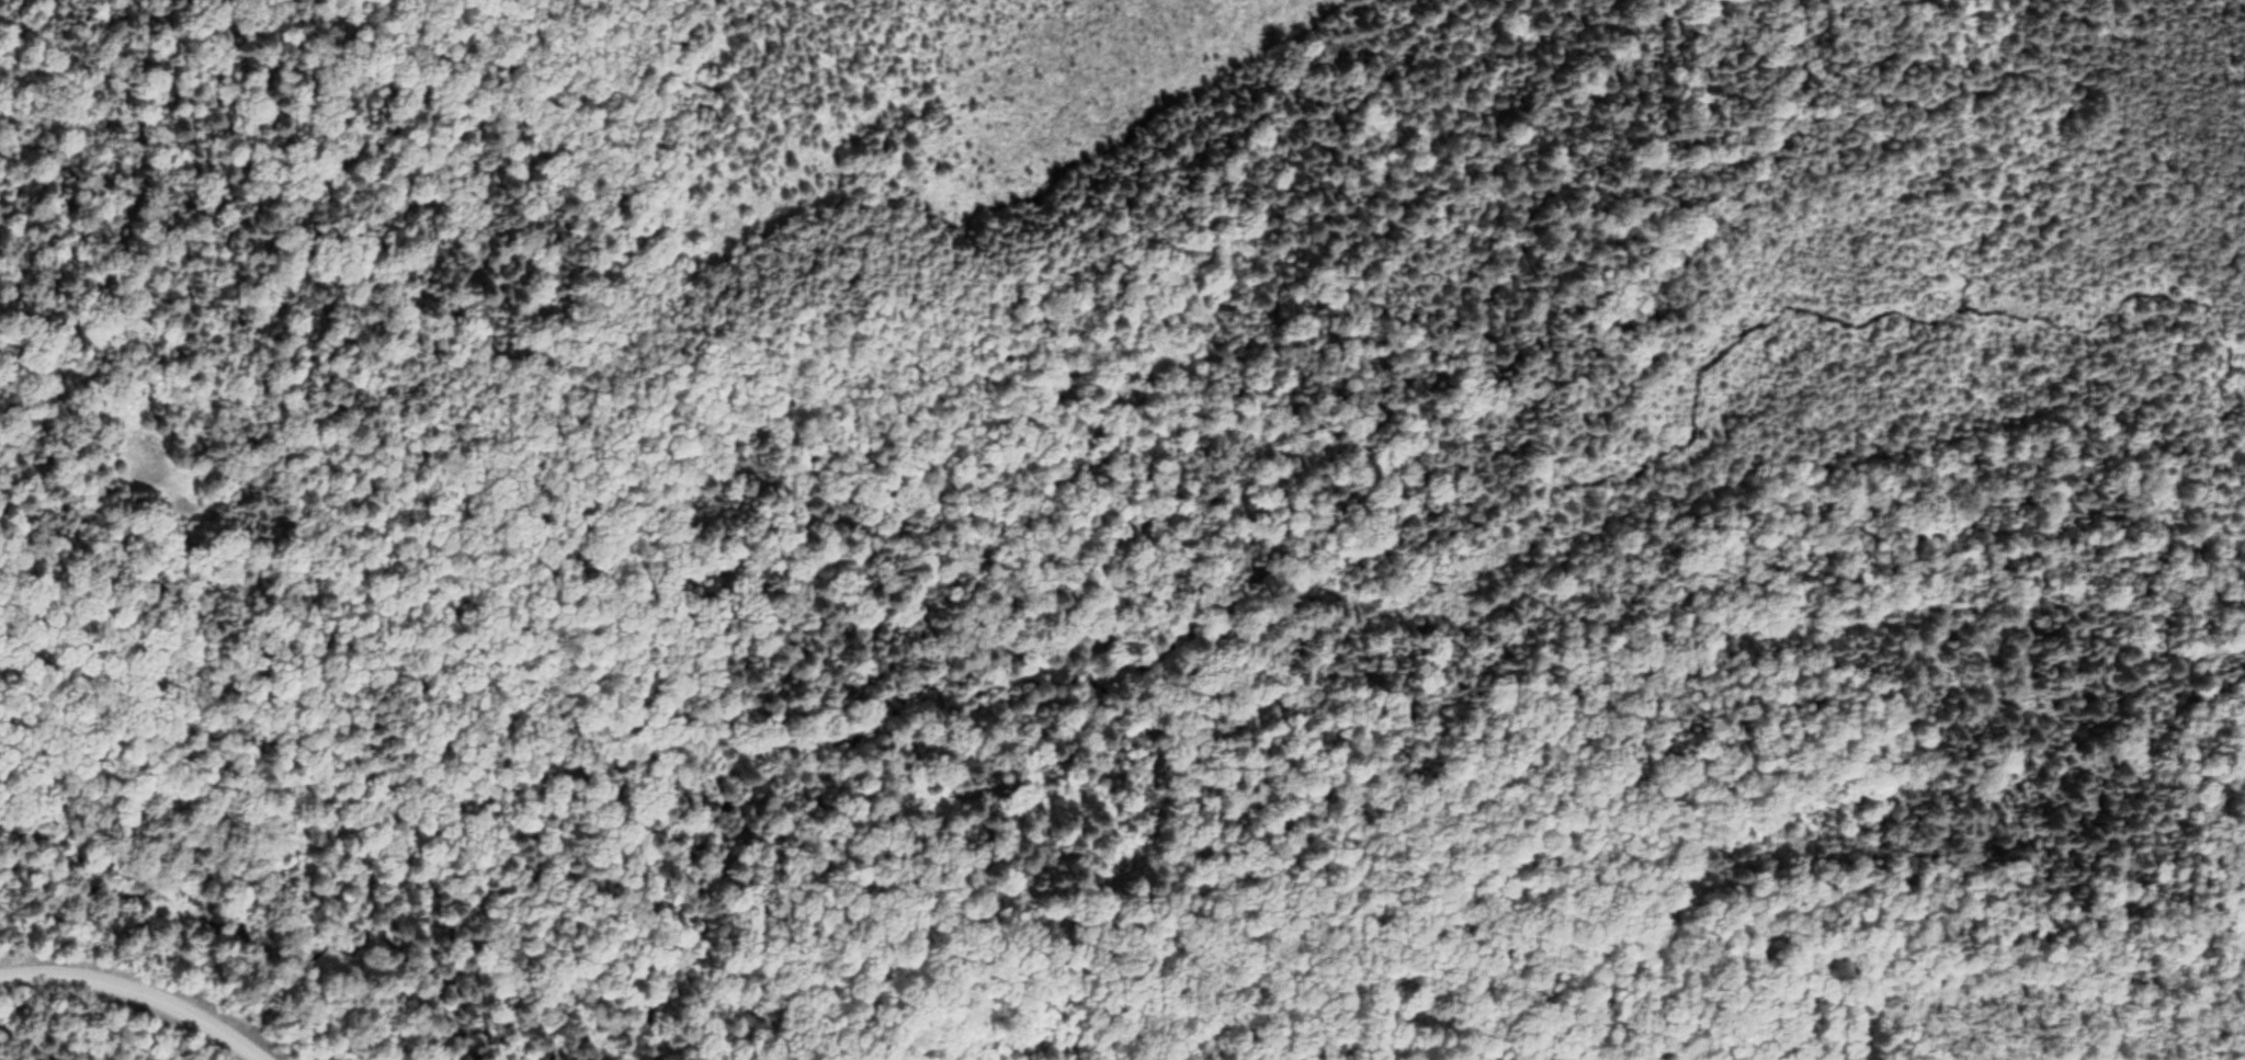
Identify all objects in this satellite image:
road: (137, 989)

